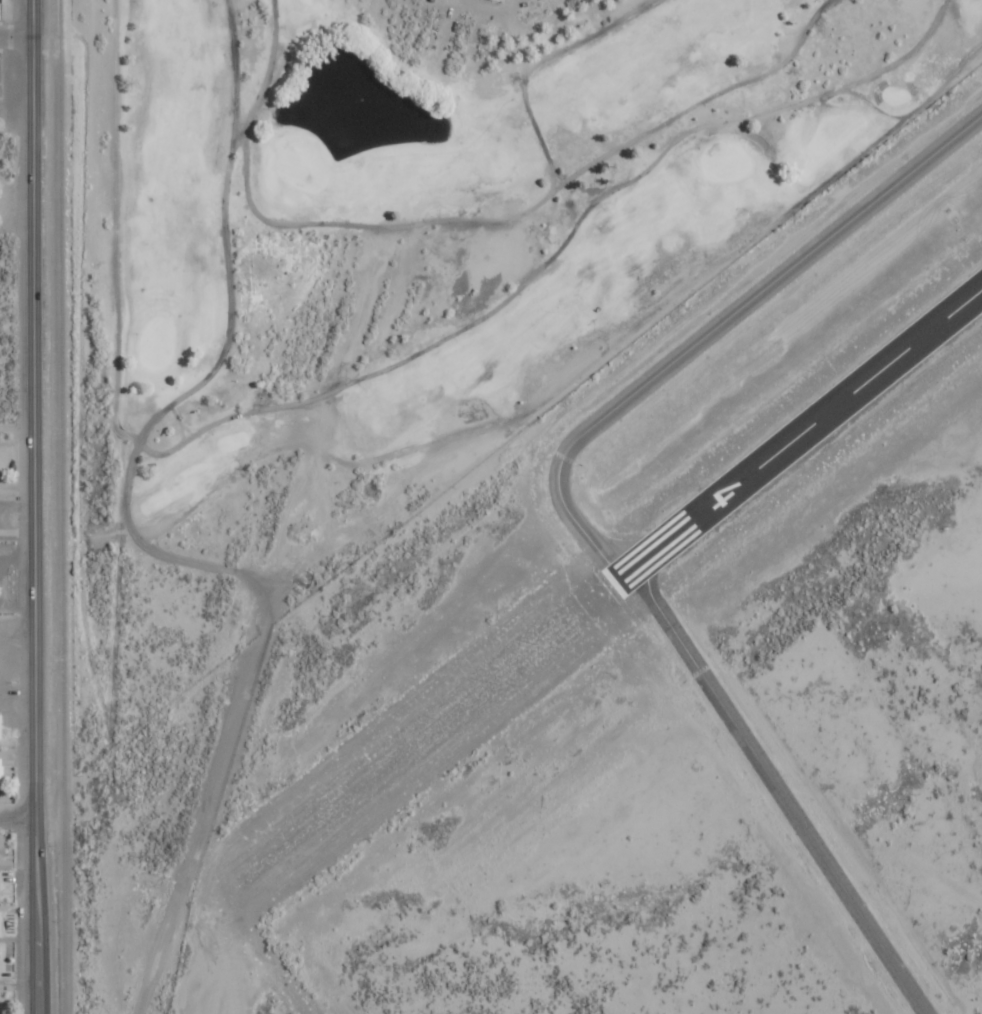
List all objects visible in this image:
road: (16, 31)
park: (428, 214)
airport runway: (800, 433)
road: (33, 507)
railway: (61, 507)
airport taxiway: (577, 516)
road: (16, 631)
building: (1, 726)
building: (1, 773)
road: (17, 817)
building: (4, 855)
building: (1, 887)
building: (1, 923)
building: (1, 960)
building: (1, 996)

